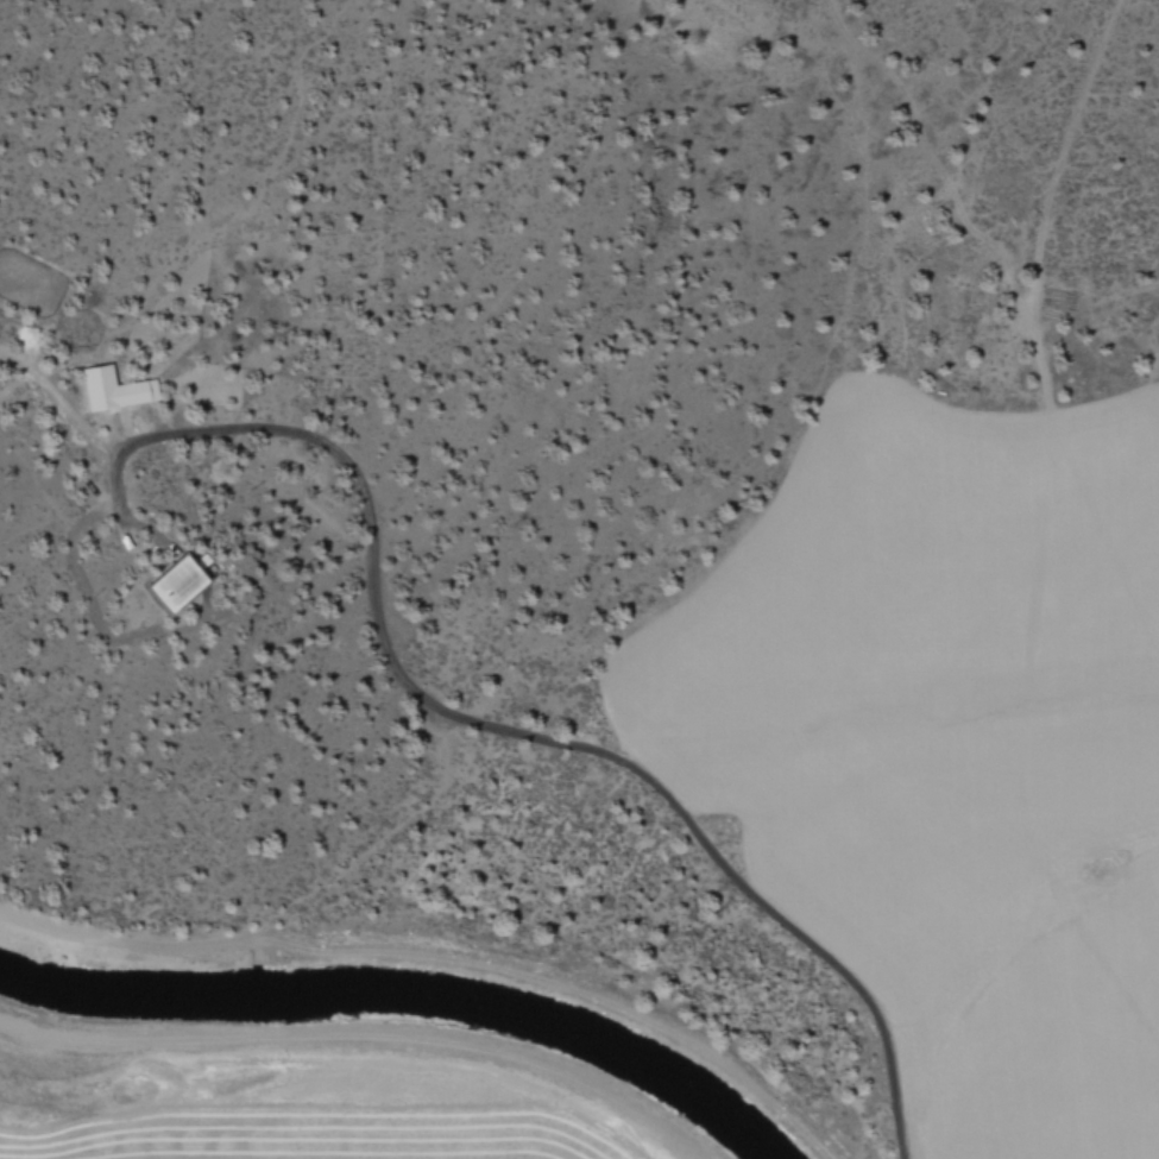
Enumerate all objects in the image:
building: (116, 389)
building: (183, 581)
crop: (745, 861)
road: (352, 1046)

